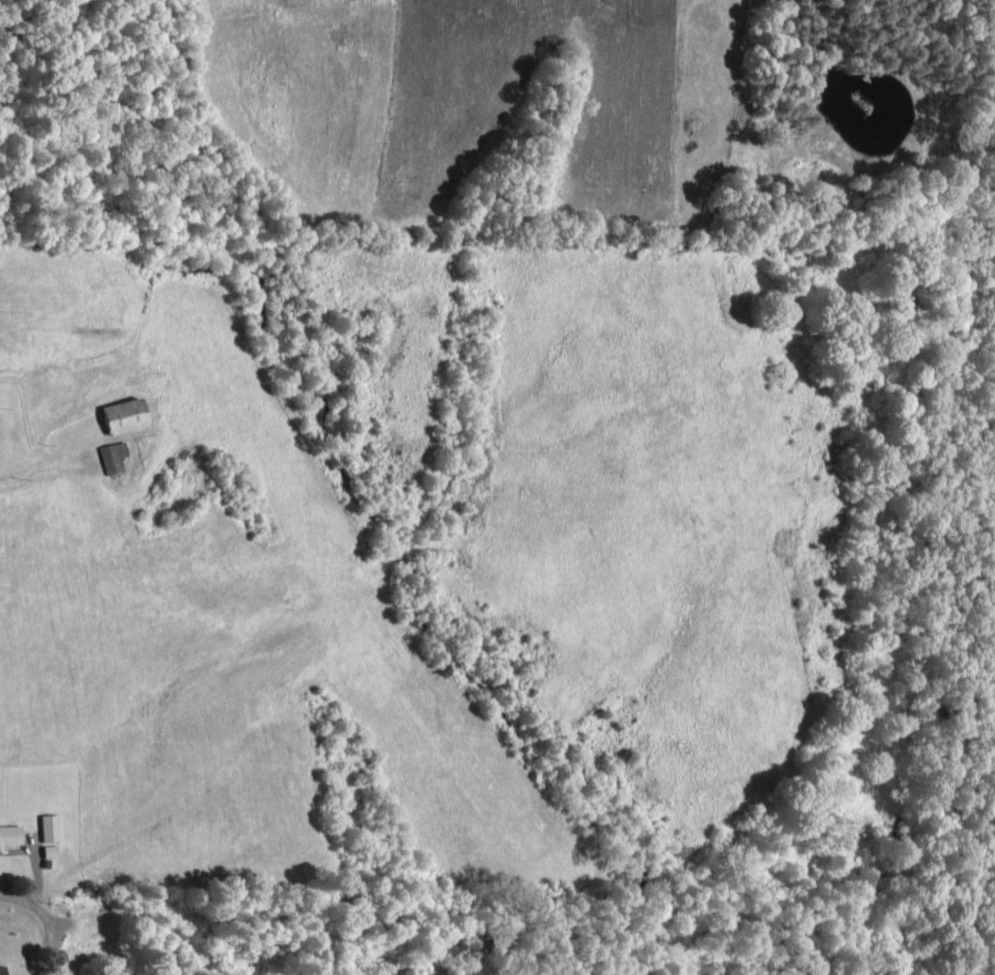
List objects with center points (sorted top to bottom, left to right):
building: (120, 414)
building: (111, 456)
building: (47, 826)
building: (9, 834)
building: (47, 850)
road: (5, 894)
building: (1, 969)

